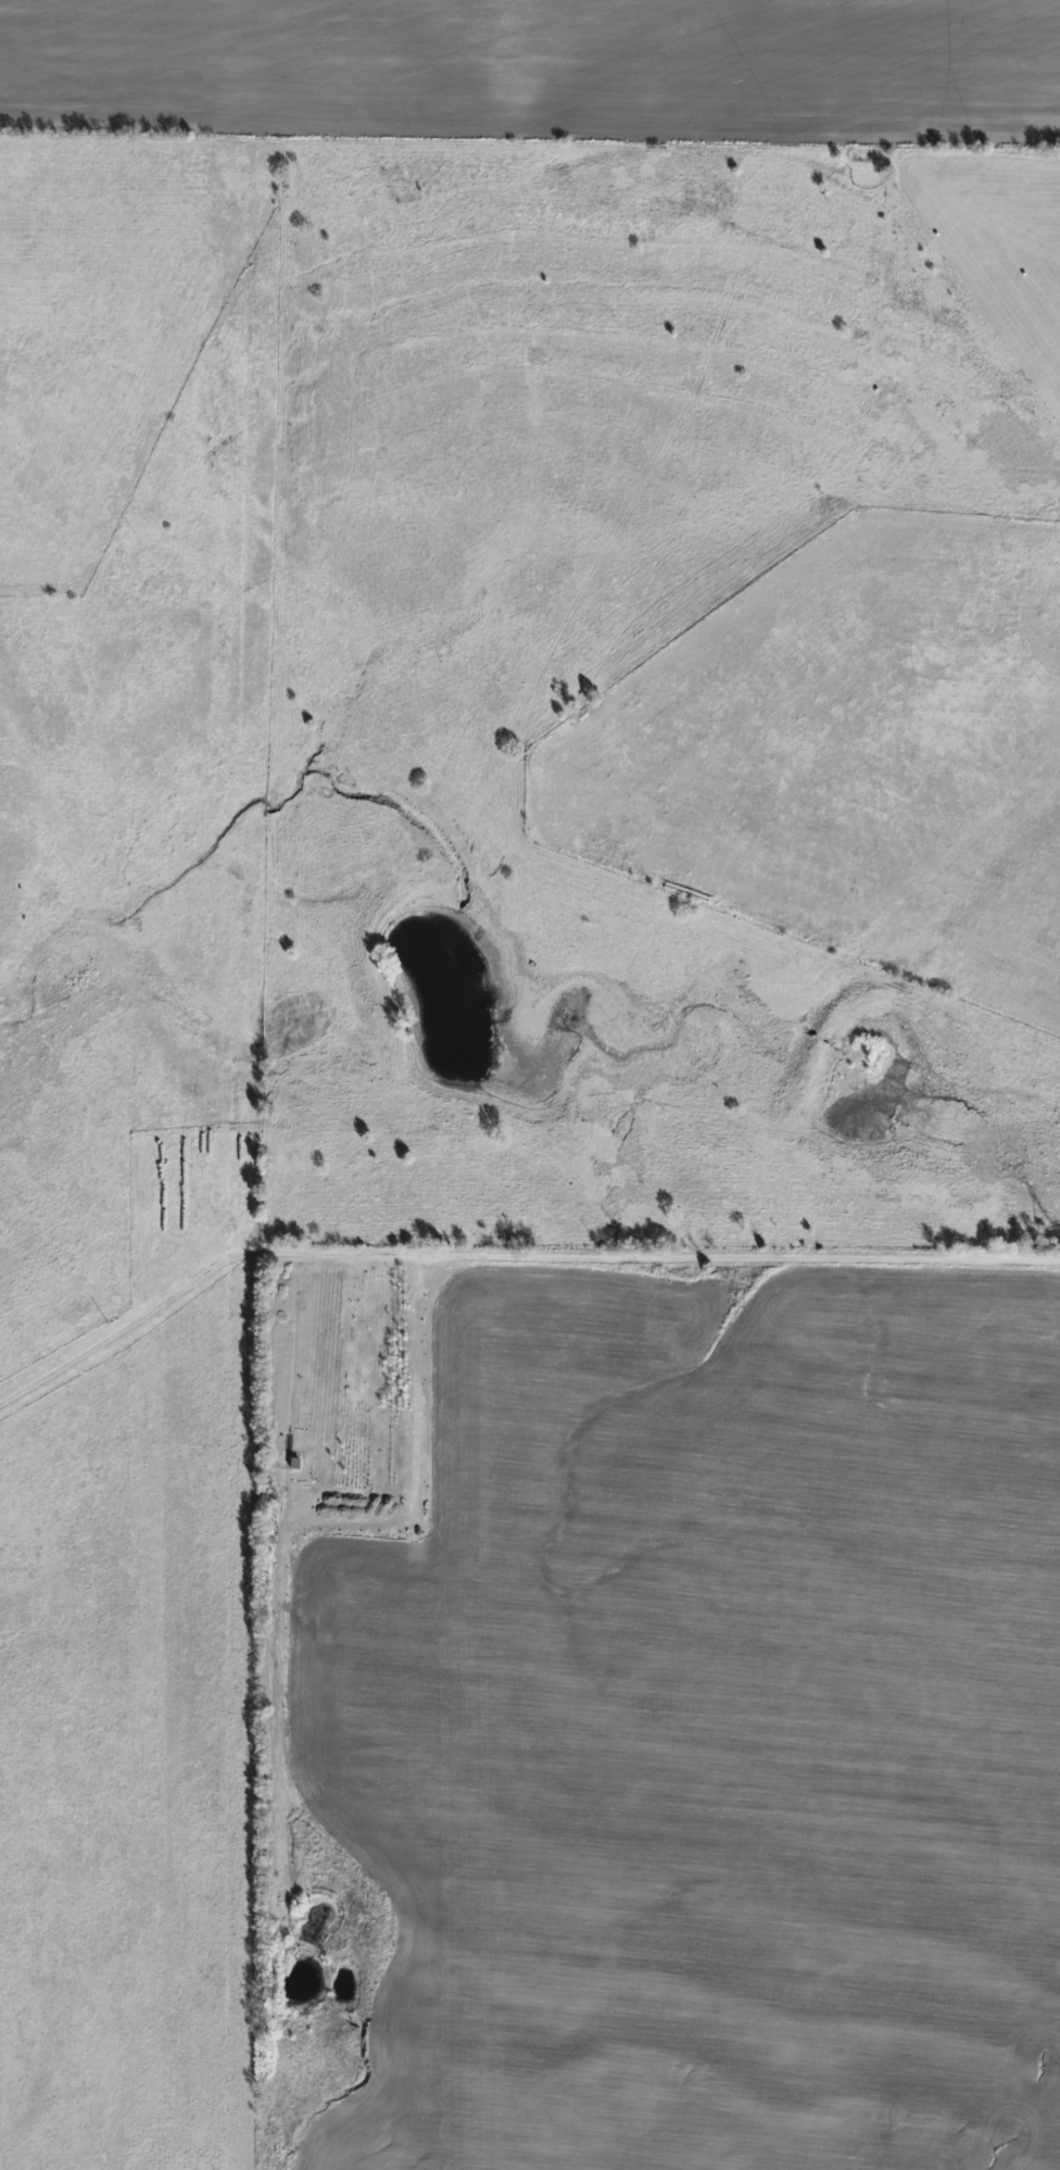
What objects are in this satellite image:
road: (507, 1254)

